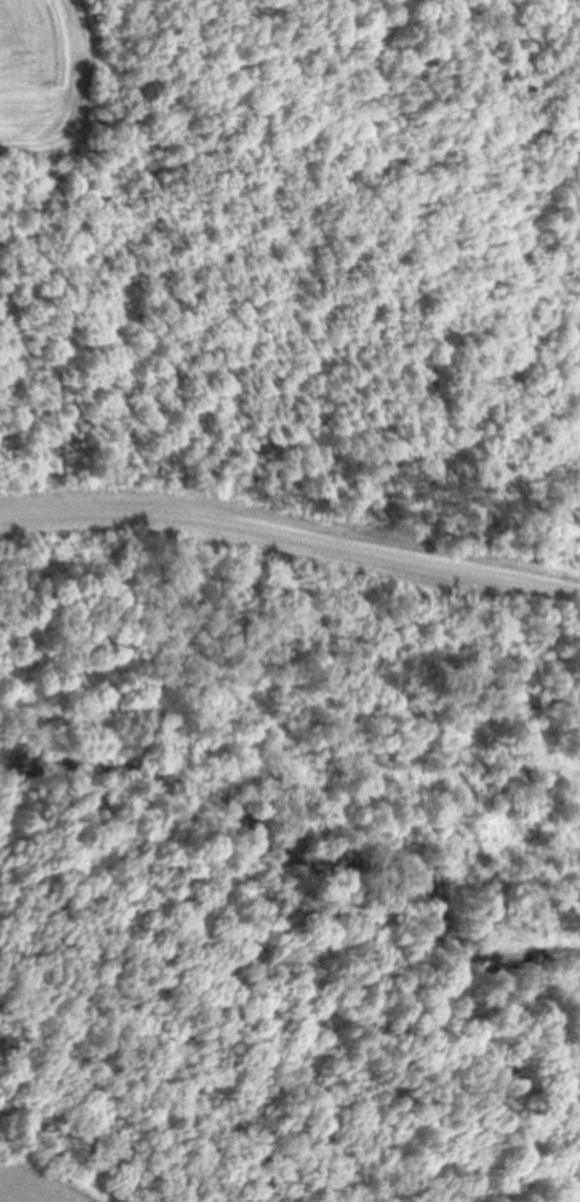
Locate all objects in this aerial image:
road: (291, 535)

